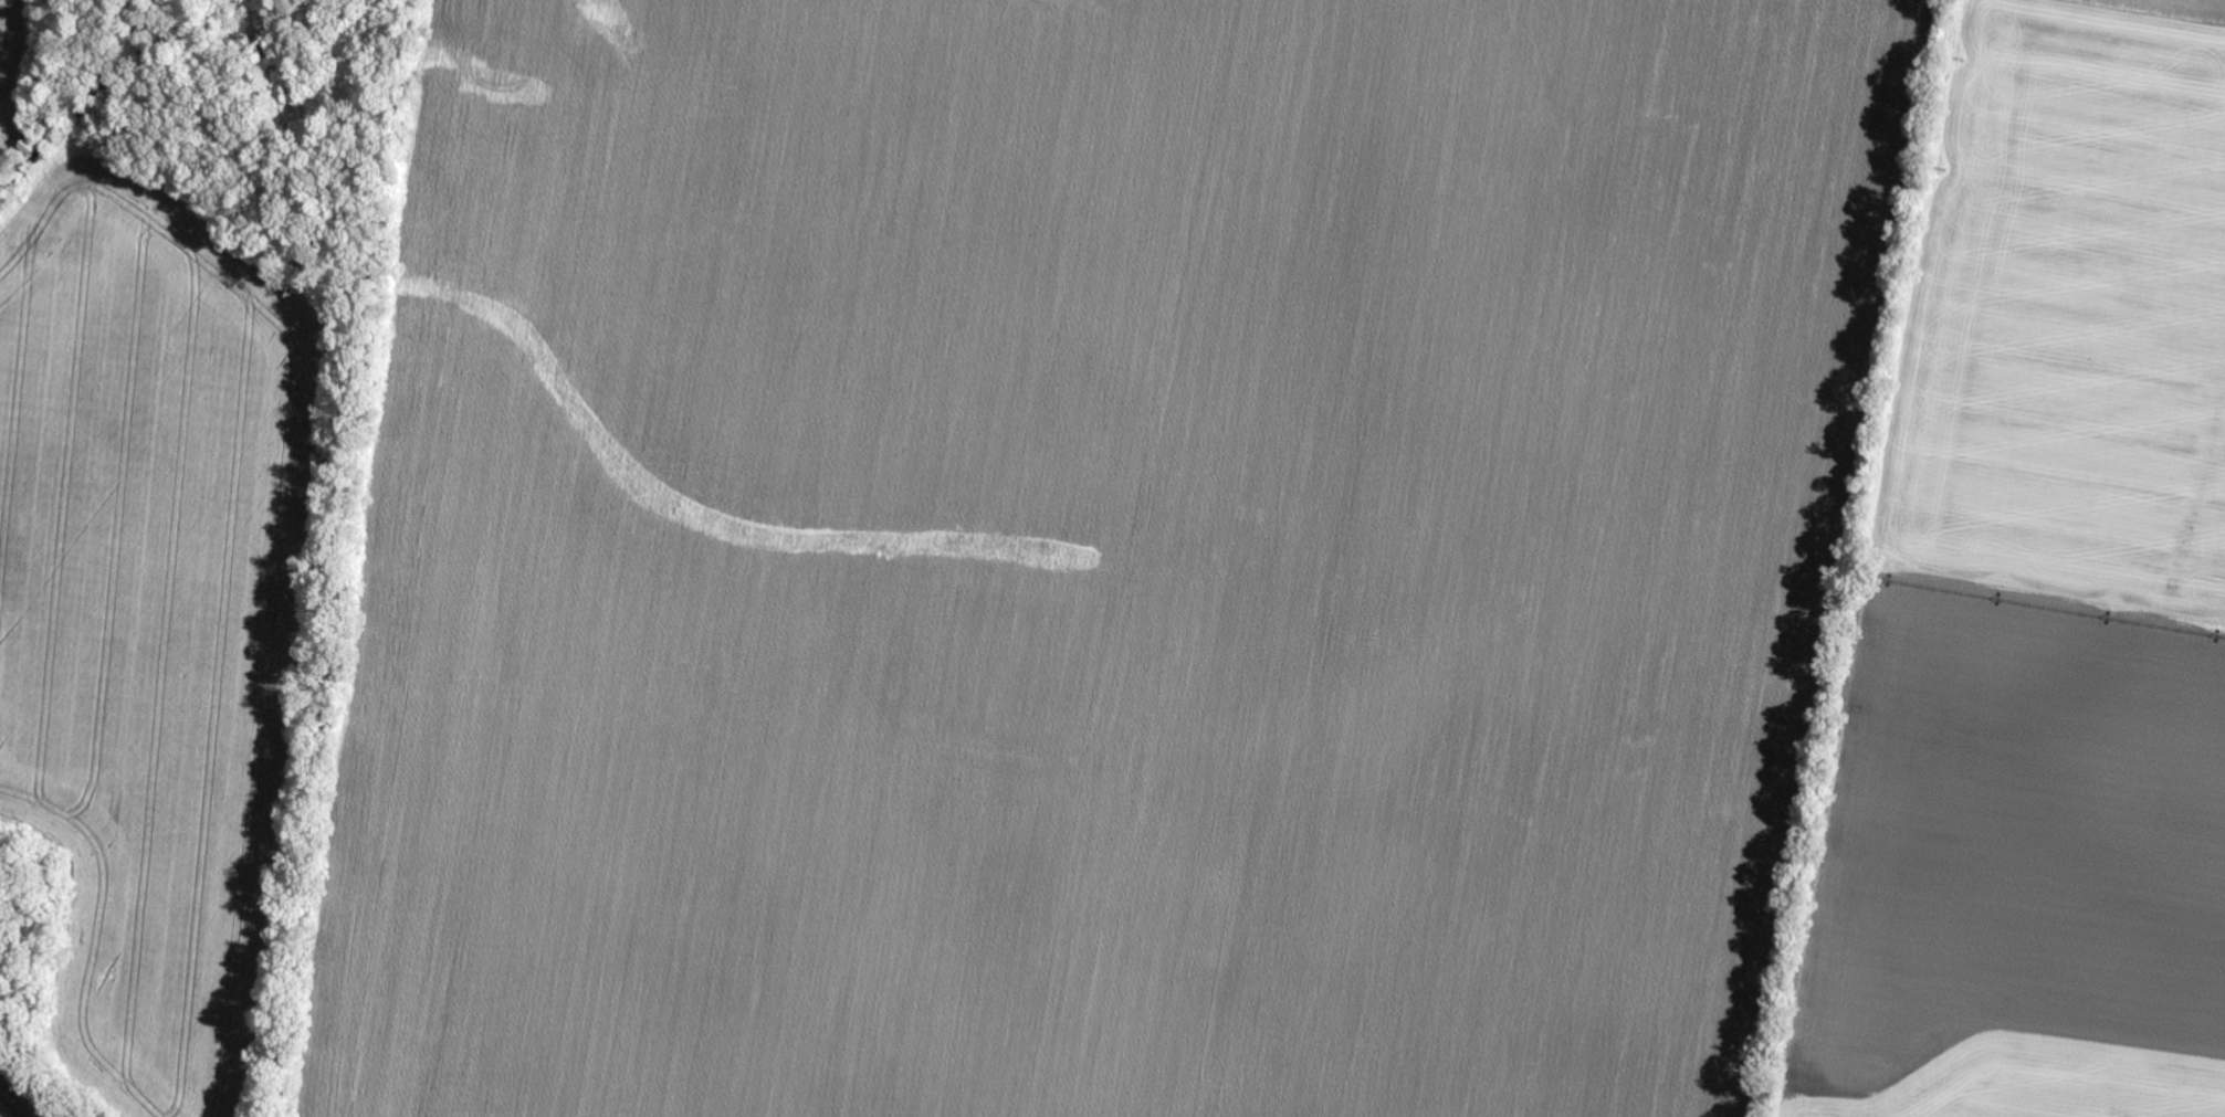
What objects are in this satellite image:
river: (94, 92)
railway: (12, 1104)

